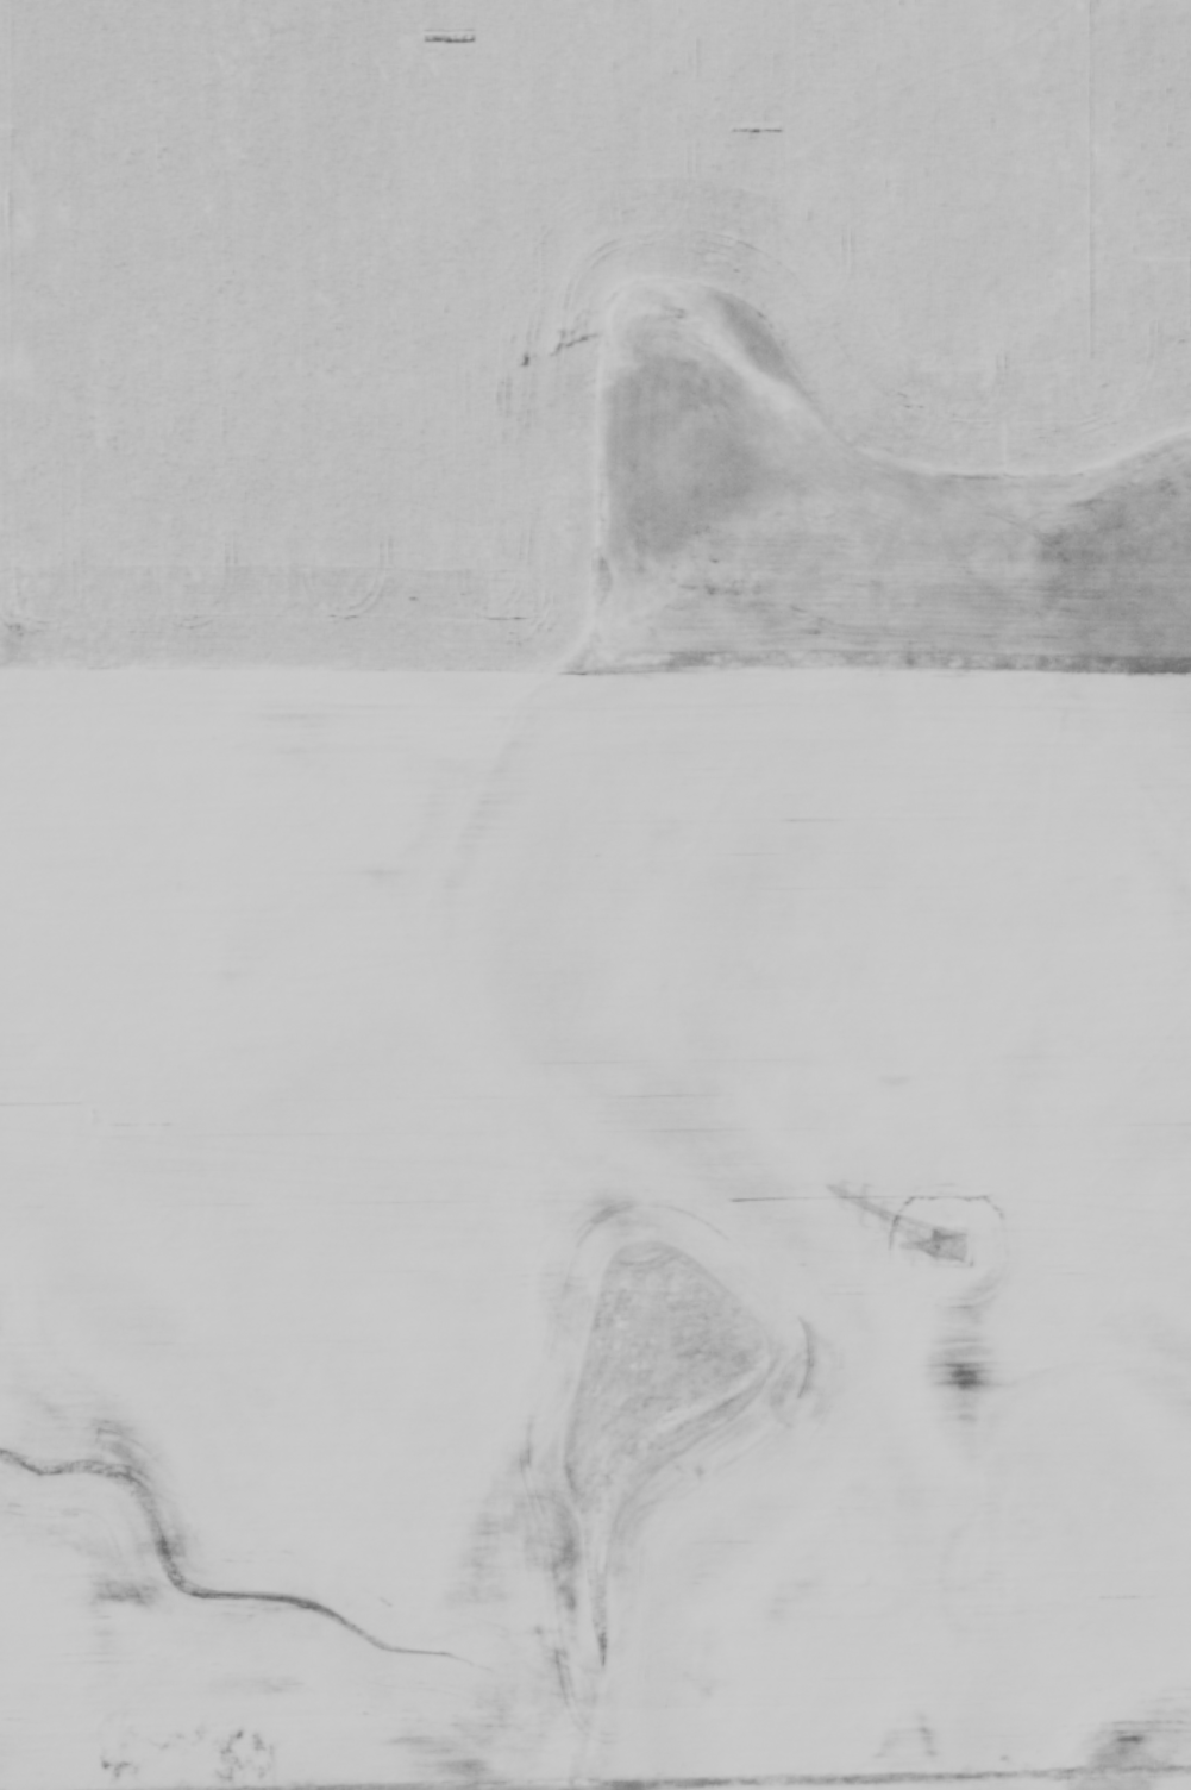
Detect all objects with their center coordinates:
power tower: (949, 1250)
river: (653, 1431)

